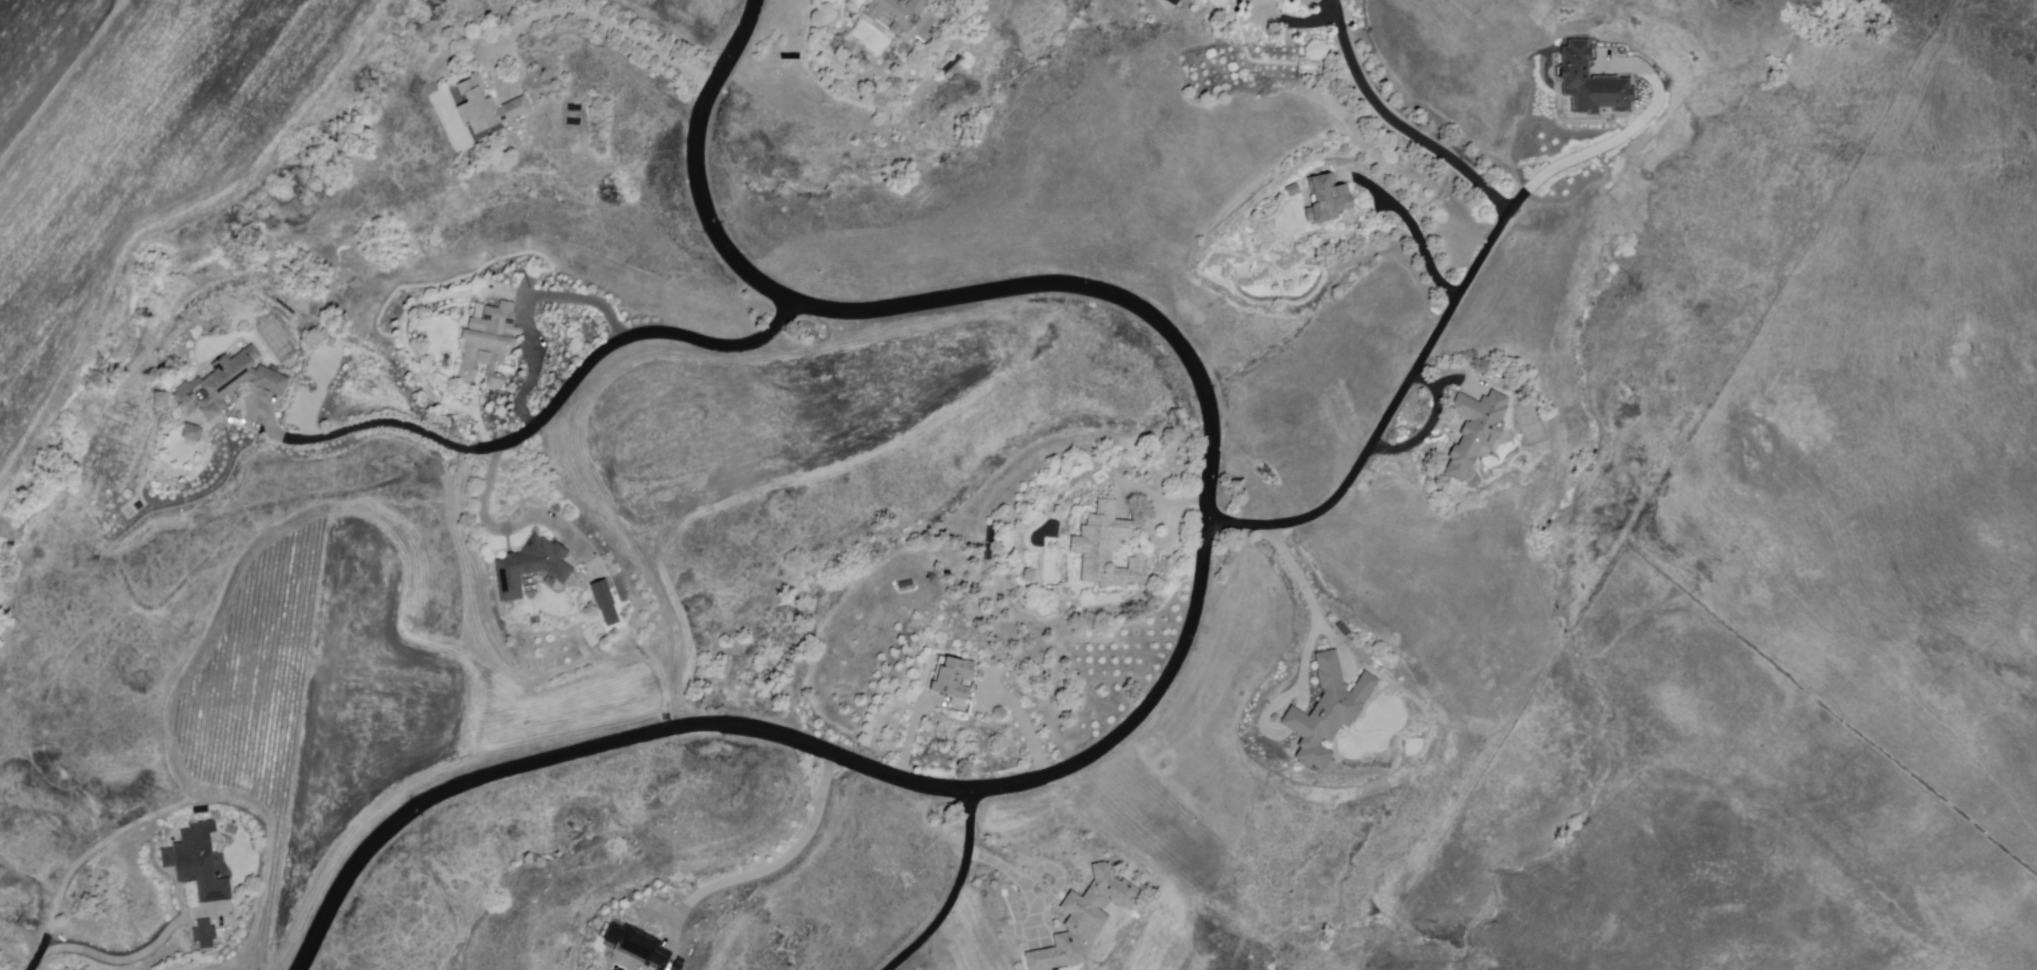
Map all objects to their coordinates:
building: (1249, 1)
building: (1272, 2)
building: (896, 14)
crop: (790, 18)
road: (608, 20)
road: (64, 84)
building: (1593, 84)
building: (490, 107)
road: (1402, 129)
road: (1621, 141)
building: (1328, 202)
road: (1424, 249)
park: (278, 342)
building: (492, 345)
road: (538, 375)
building: (230, 384)
building: (162, 398)
road: (548, 408)
road: (1392, 408)
park: (1532, 426)
road: (1431, 428)
building: (193, 432)
building: (1476, 432)
road: (1179, 504)
road: (518, 530)
building: (1107, 549)
building: (534, 569)
building: (607, 604)
road: (1317, 608)
road: (1186, 635)
building: (952, 679)
building: (1327, 713)
road: (913, 725)
road: (1023, 726)
building: (201, 864)
road: (770, 865)
road: (1057, 878)
road: (1021, 881)
road: (953, 893)
building: (1083, 920)
building: (207, 936)
building: (639, 943)
road: (44, 952)
road: (137, 958)
building: (679, 963)

